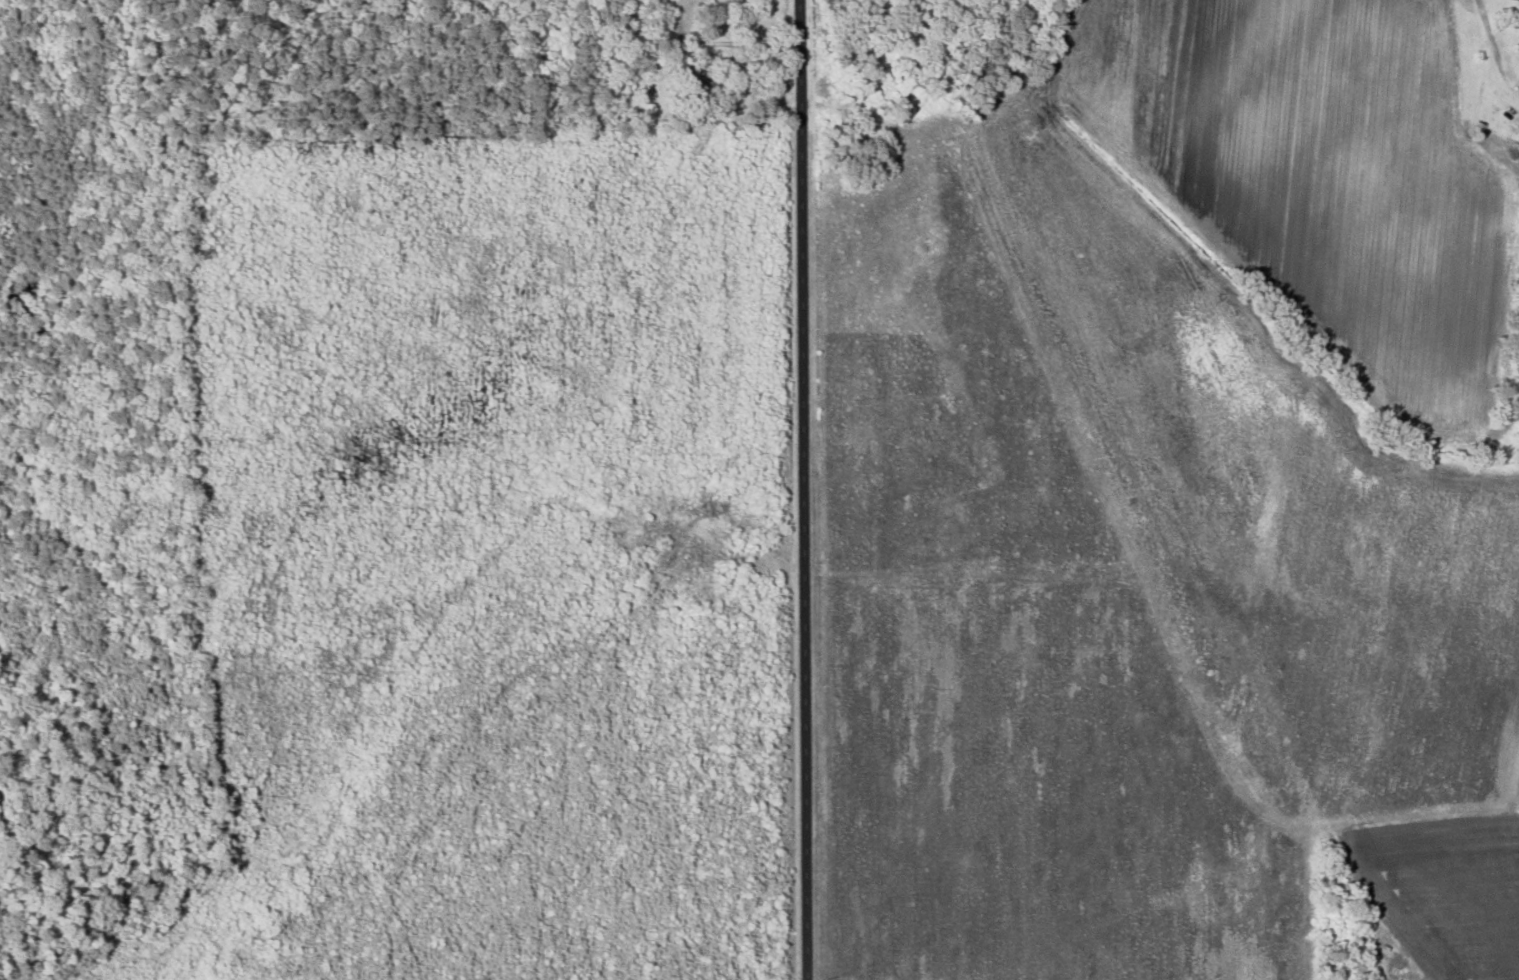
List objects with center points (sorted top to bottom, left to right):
building: (1517, 84)
road: (799, 490)

